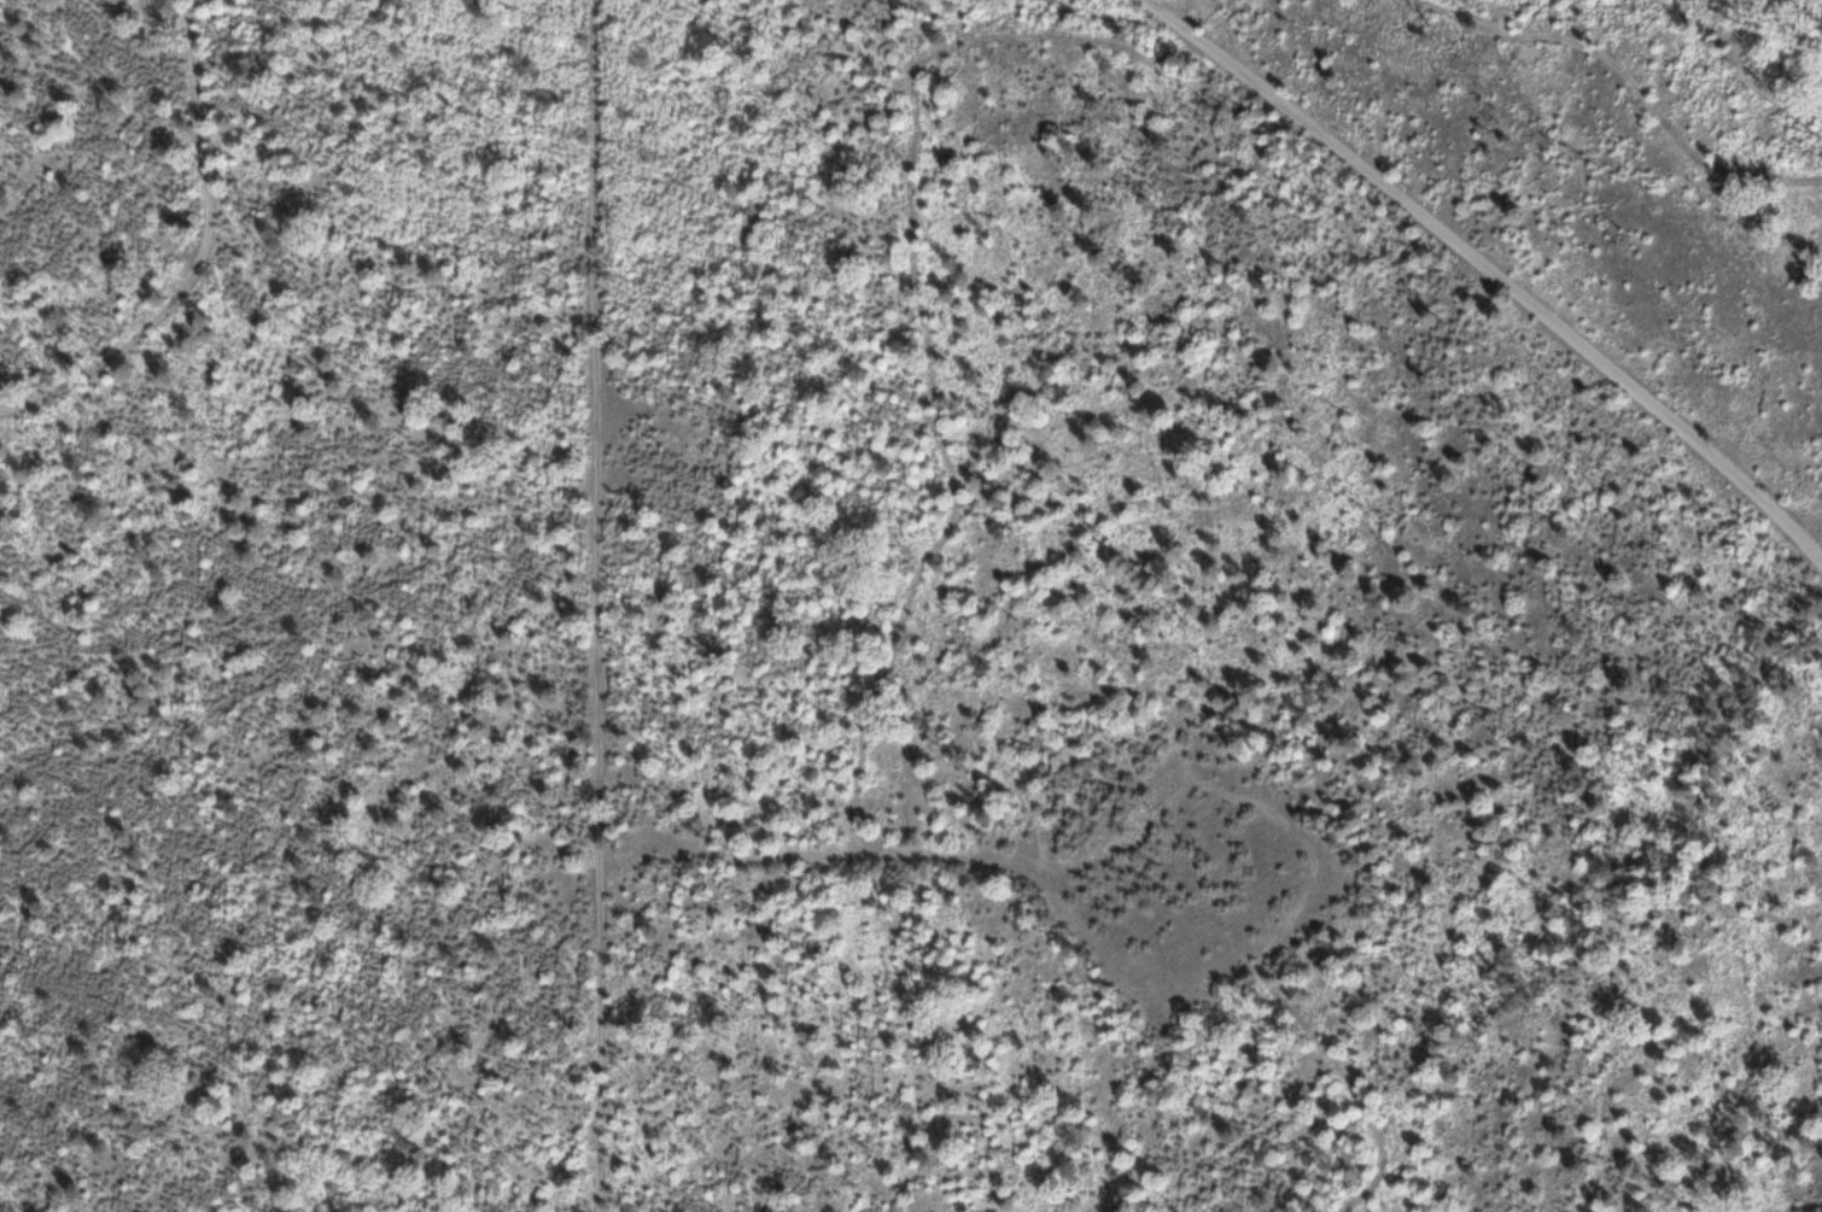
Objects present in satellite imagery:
road: (1736, 27)
road: (1748, 69)
road: (206, 259)
road: (1490, 270)
road: (600, 656)
road: (1581, 927)
road: (1126, 986)
road: (602, 991)
road: (1711, 1157)

